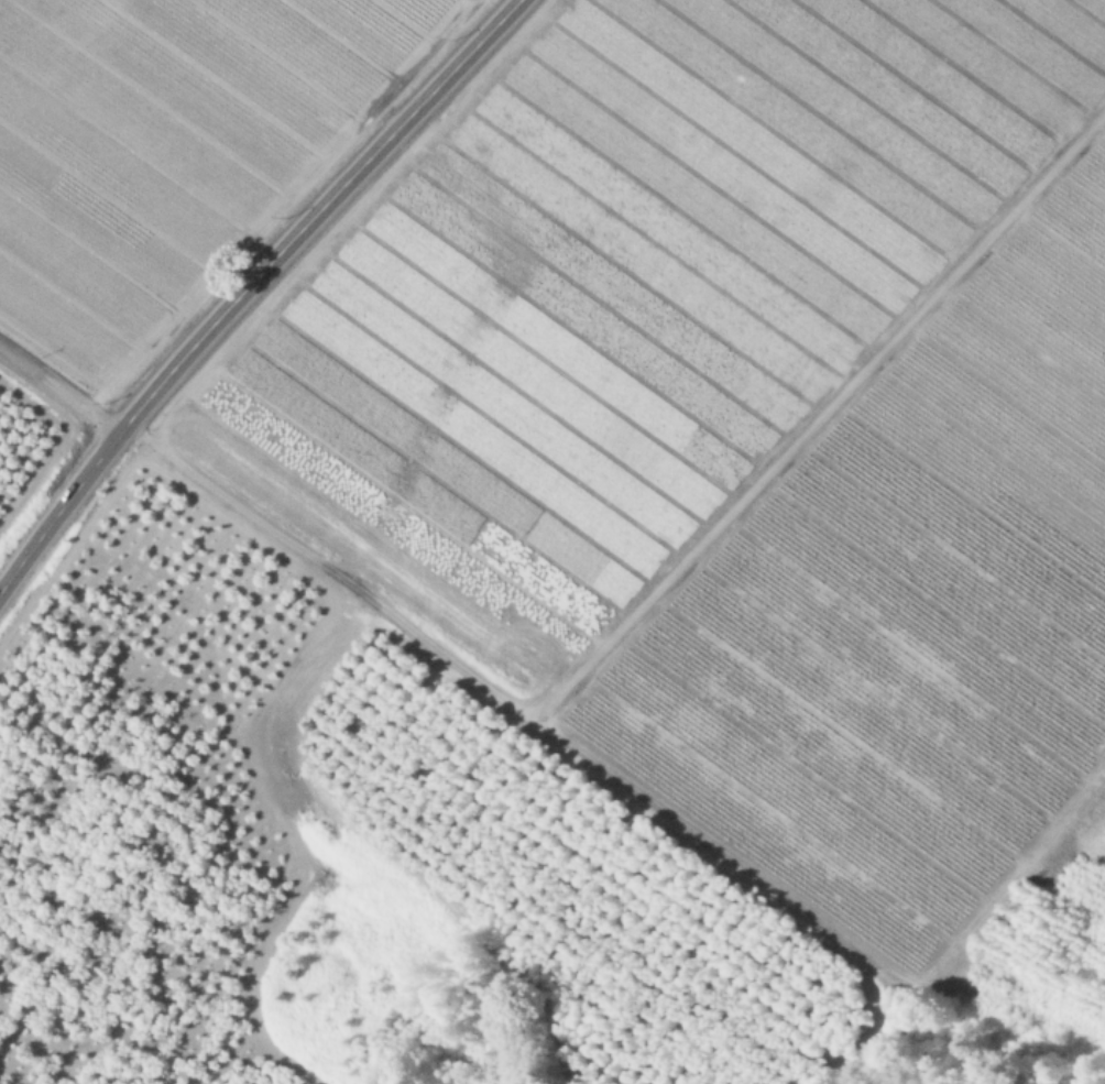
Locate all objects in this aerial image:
crop: (178, 151)
road: (249, 285)
road: (59, 390)
crop: (755, 458)

